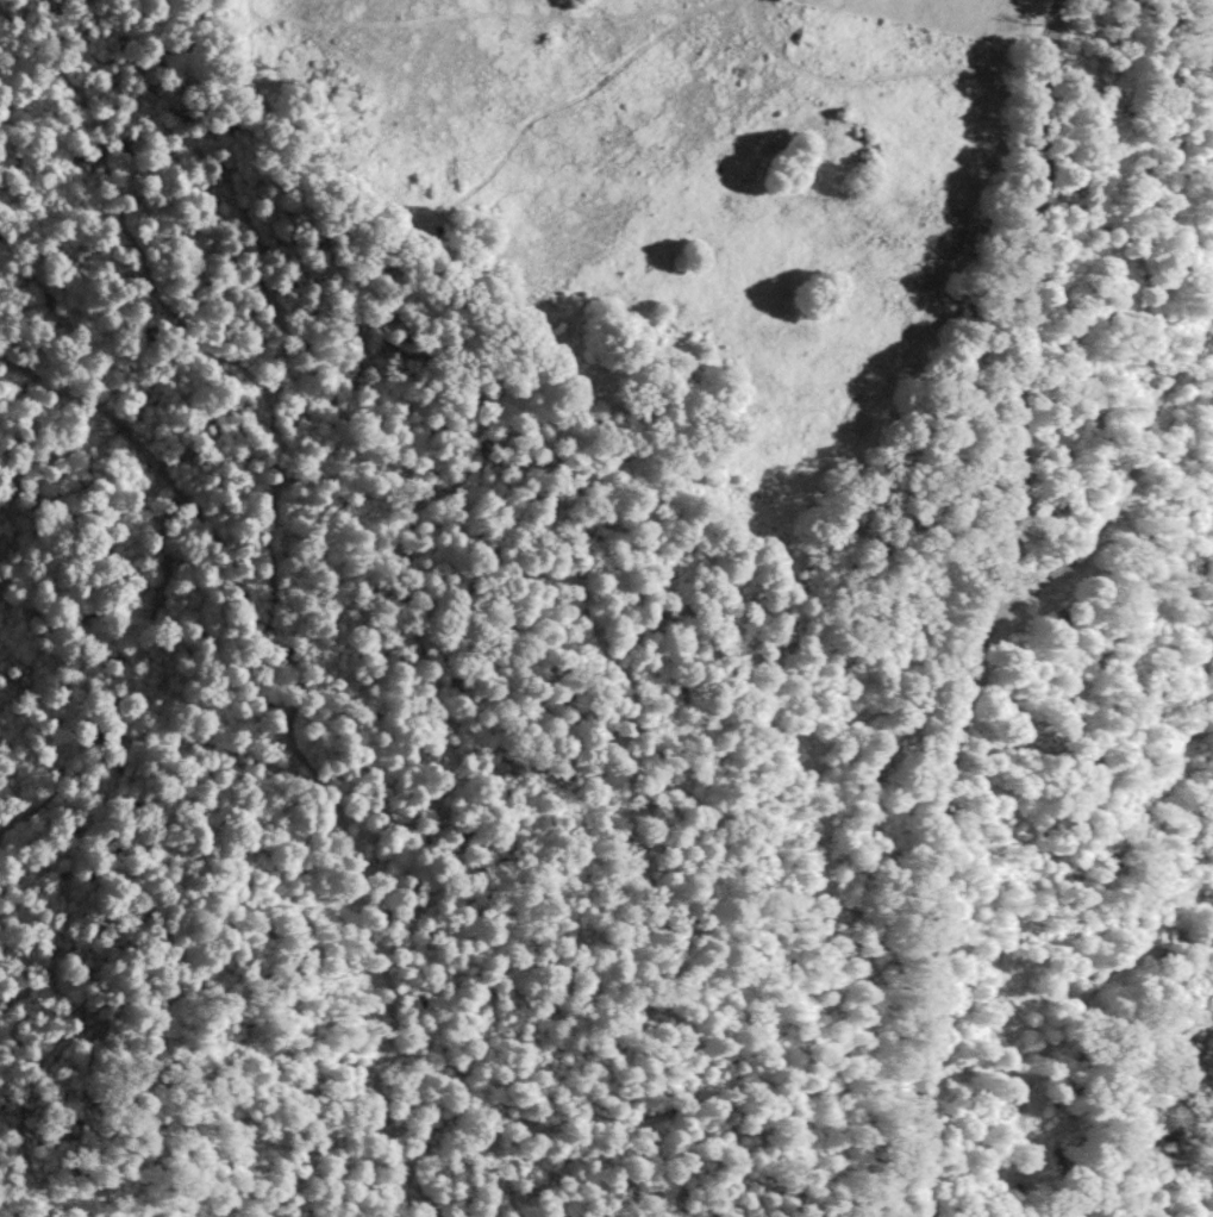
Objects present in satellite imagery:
road: (934, 604)

